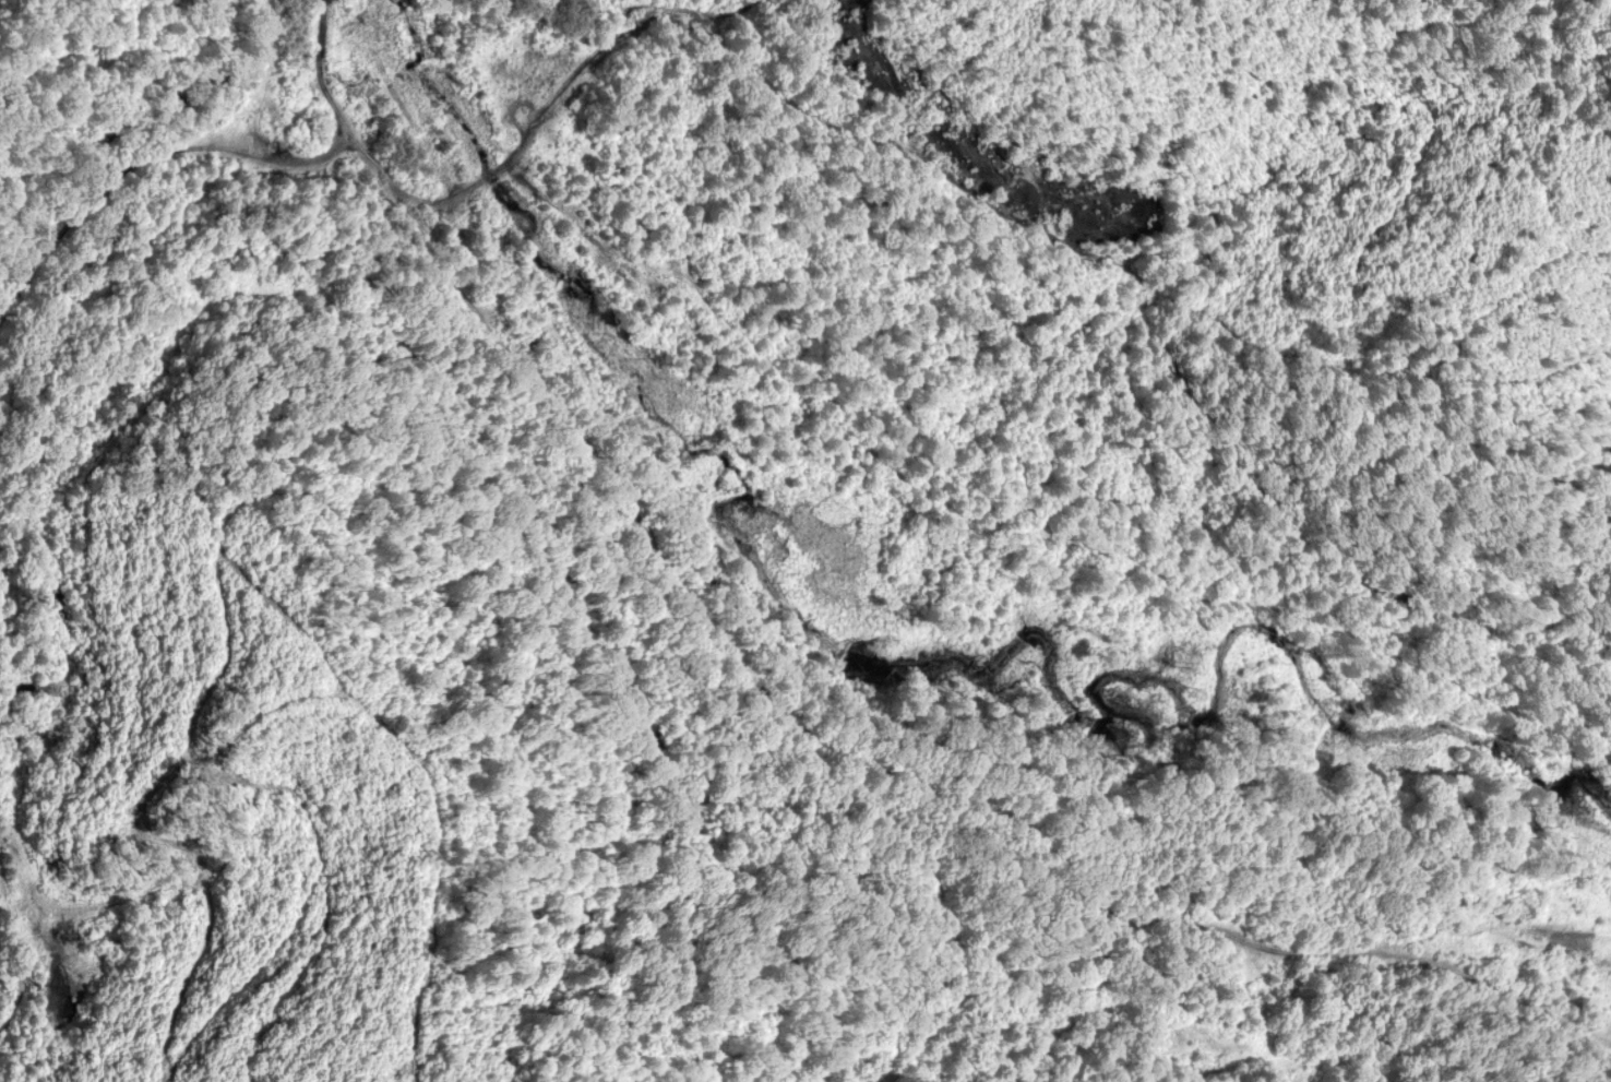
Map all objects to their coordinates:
road: (1, 1)
road: (208, 163)
road: (2, 998)

